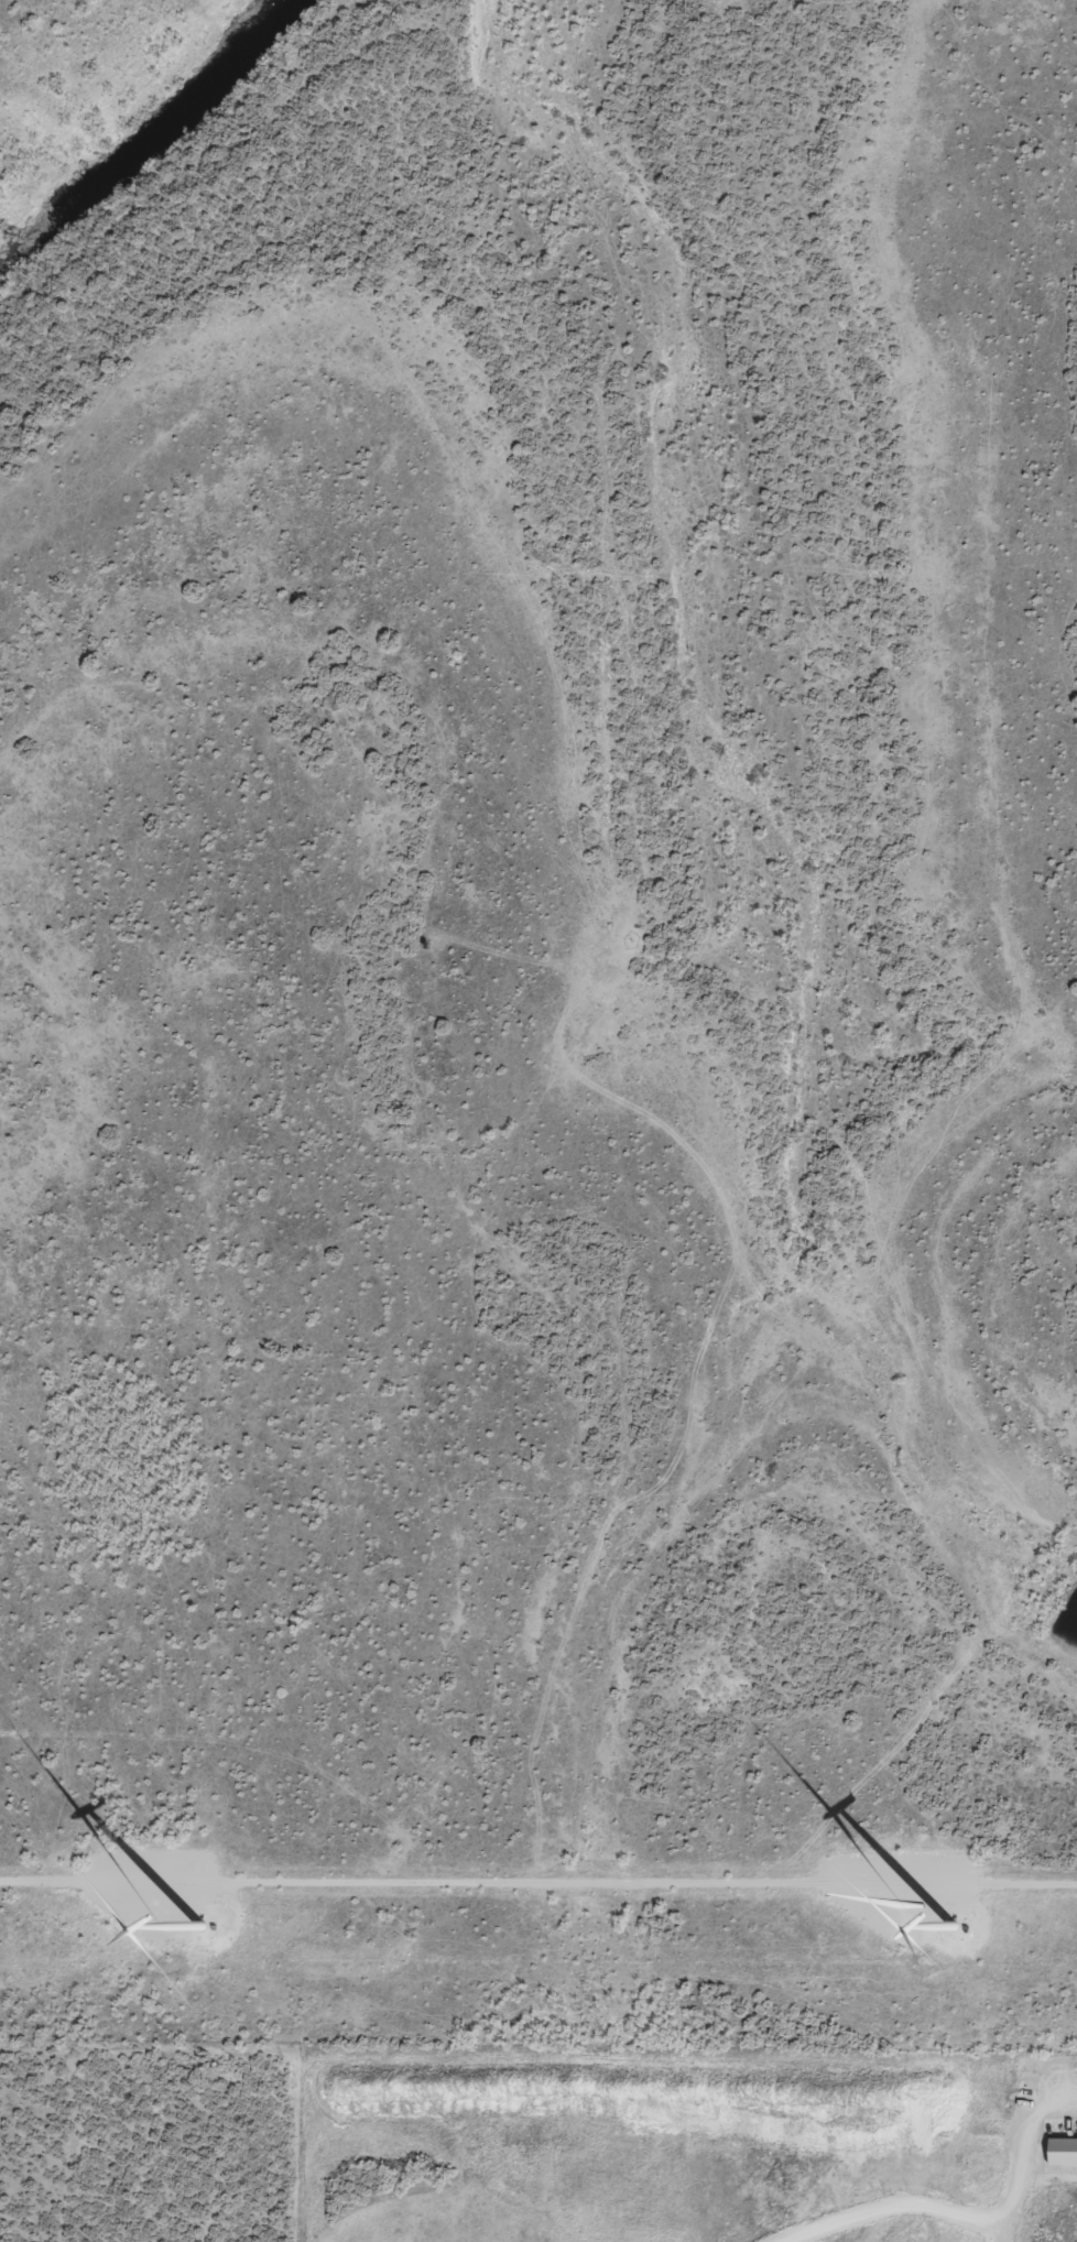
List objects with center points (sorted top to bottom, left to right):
wind turbine: (246, 1903)
wind turbine: (961, 1911)
building: (1060, 2152)

